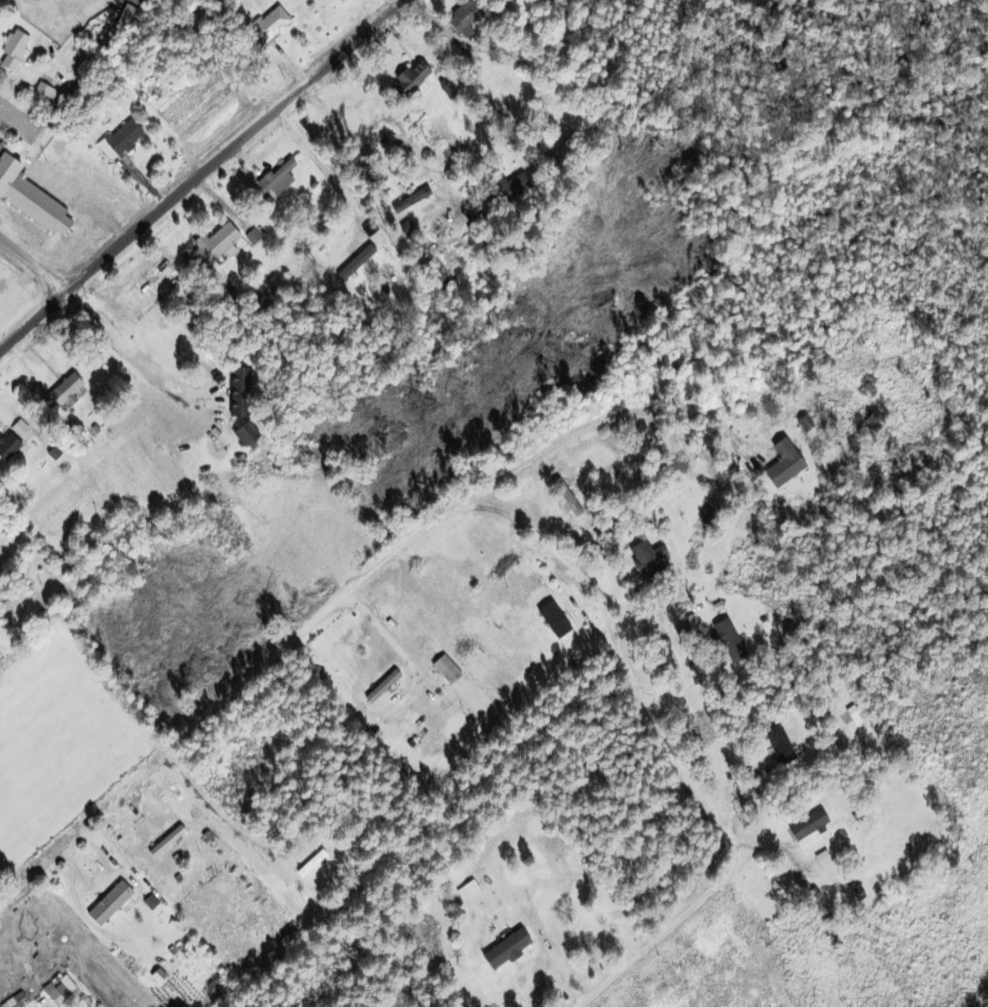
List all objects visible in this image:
building: (461, 20)
building: (122, 22)
building: (267, 26)
building: (11, 51)
building: (405, 81)
building: (41, 95)
building: (117, 141)
road: (234, 146)
building: (559, 154)
building: (275, 179)
building: (498, 193)
building: (28, 200)
building: (213, 245)
road: (31, 269)
building: (437, 277)
road: (31, 320)
building: (63, 391)
building: (235, 394)
road: (603, 417)
building: (242, 434)
building: (6, 447)
building: (780, 463)
building: (563, 497)
road: (504, 510)
building: (644, 560)
building: (26, 590)
building: (724, 639)
building: (776, 744)
building: (805, 825)
building: (164, 841)
road: (108, 856)
building: (309, 864)
building: (108, 903)
building: (504, 949)
building: (58, 989)

